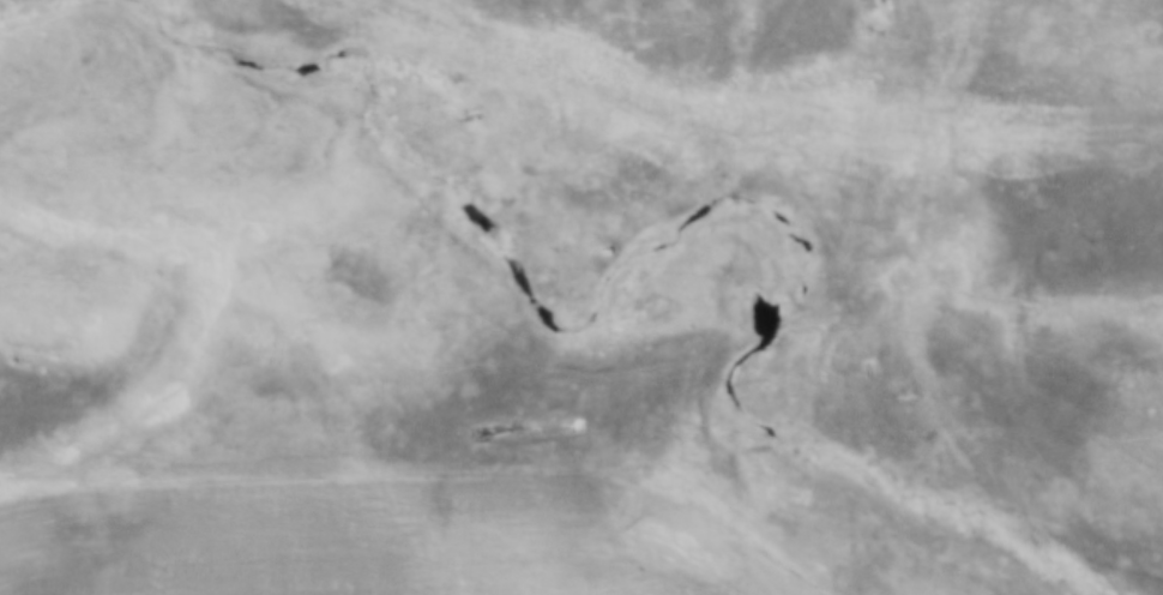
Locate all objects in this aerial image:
building: (482, 410)

